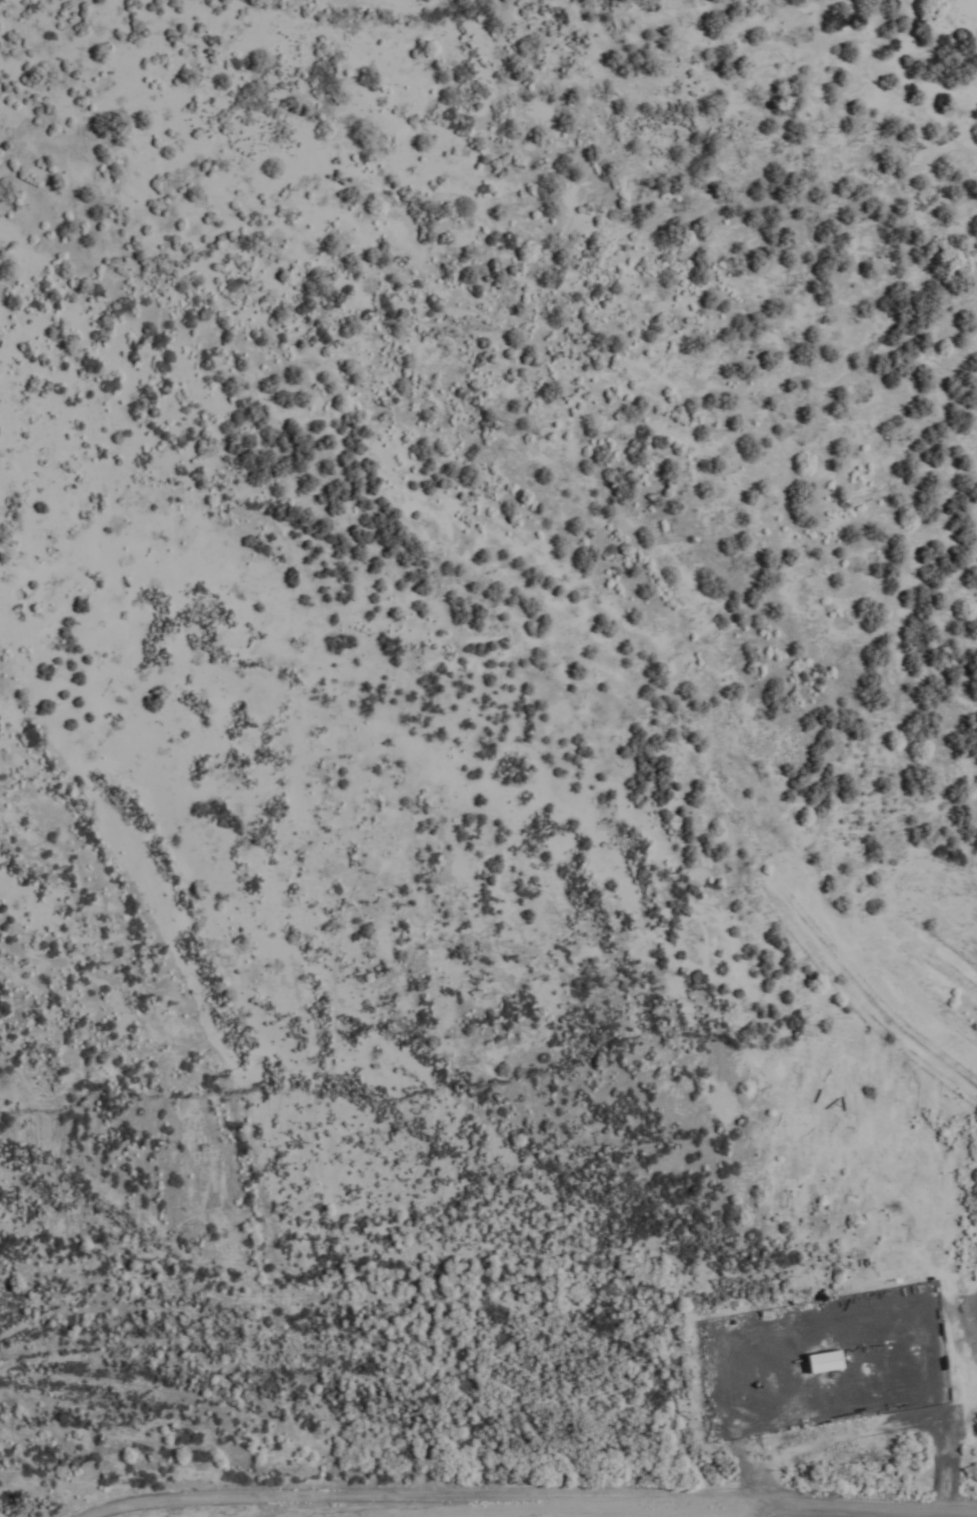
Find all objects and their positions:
building: (827, 1364)
road: (754, 1512)

